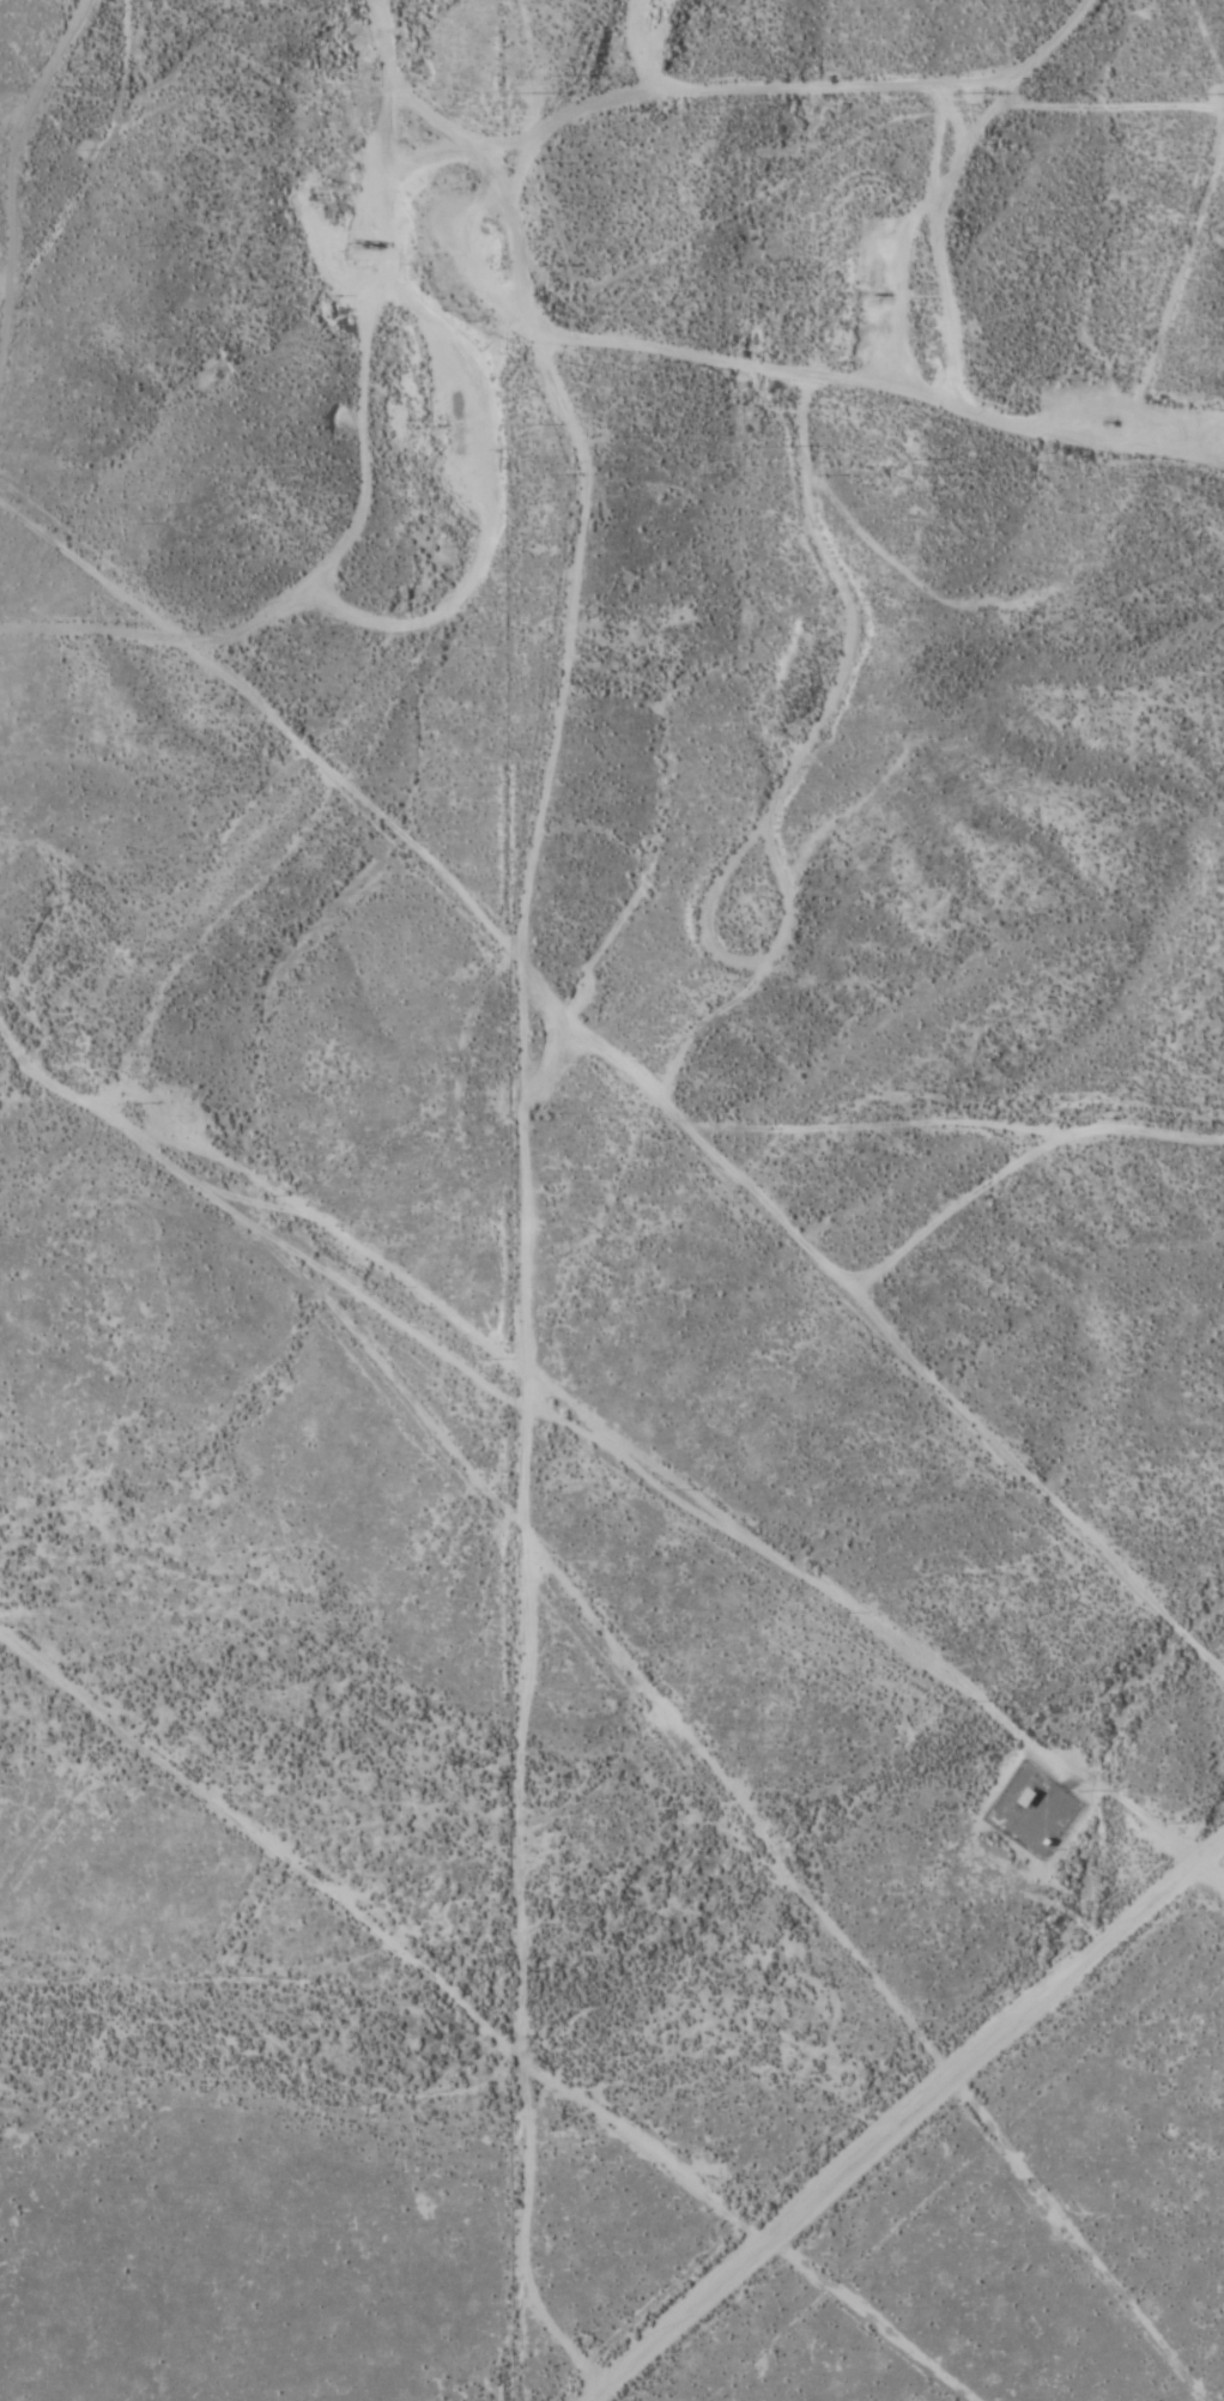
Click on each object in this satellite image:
road: (0, 0)
road: (462, 230)
road: (898, 391)
road: (661, 1091)
building: (1028, 1797)
road: (934, 2134)

